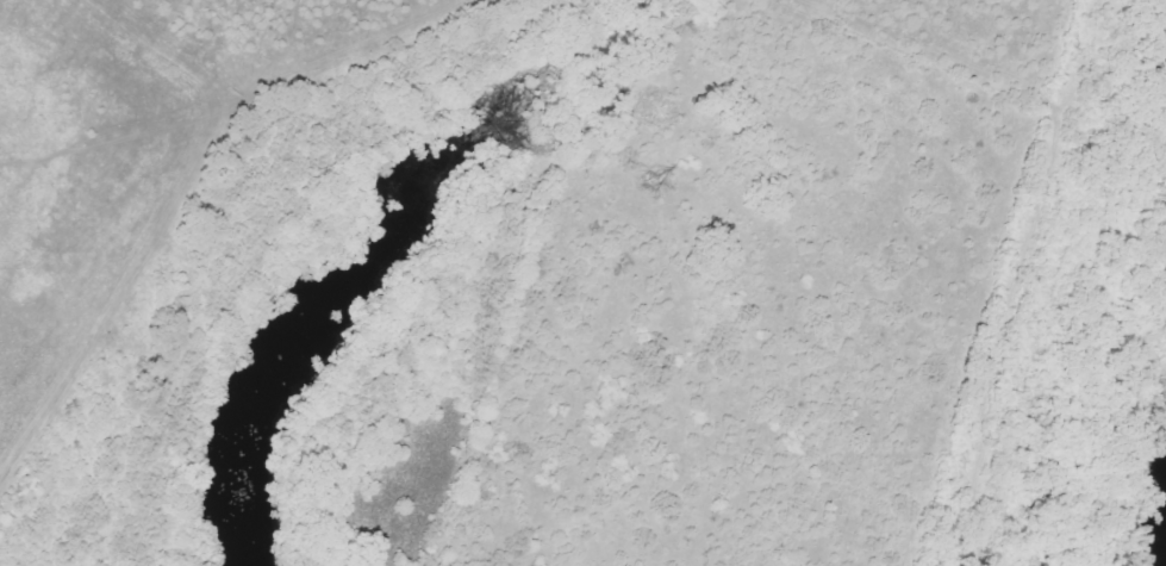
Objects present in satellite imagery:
road: (1028, 280)

